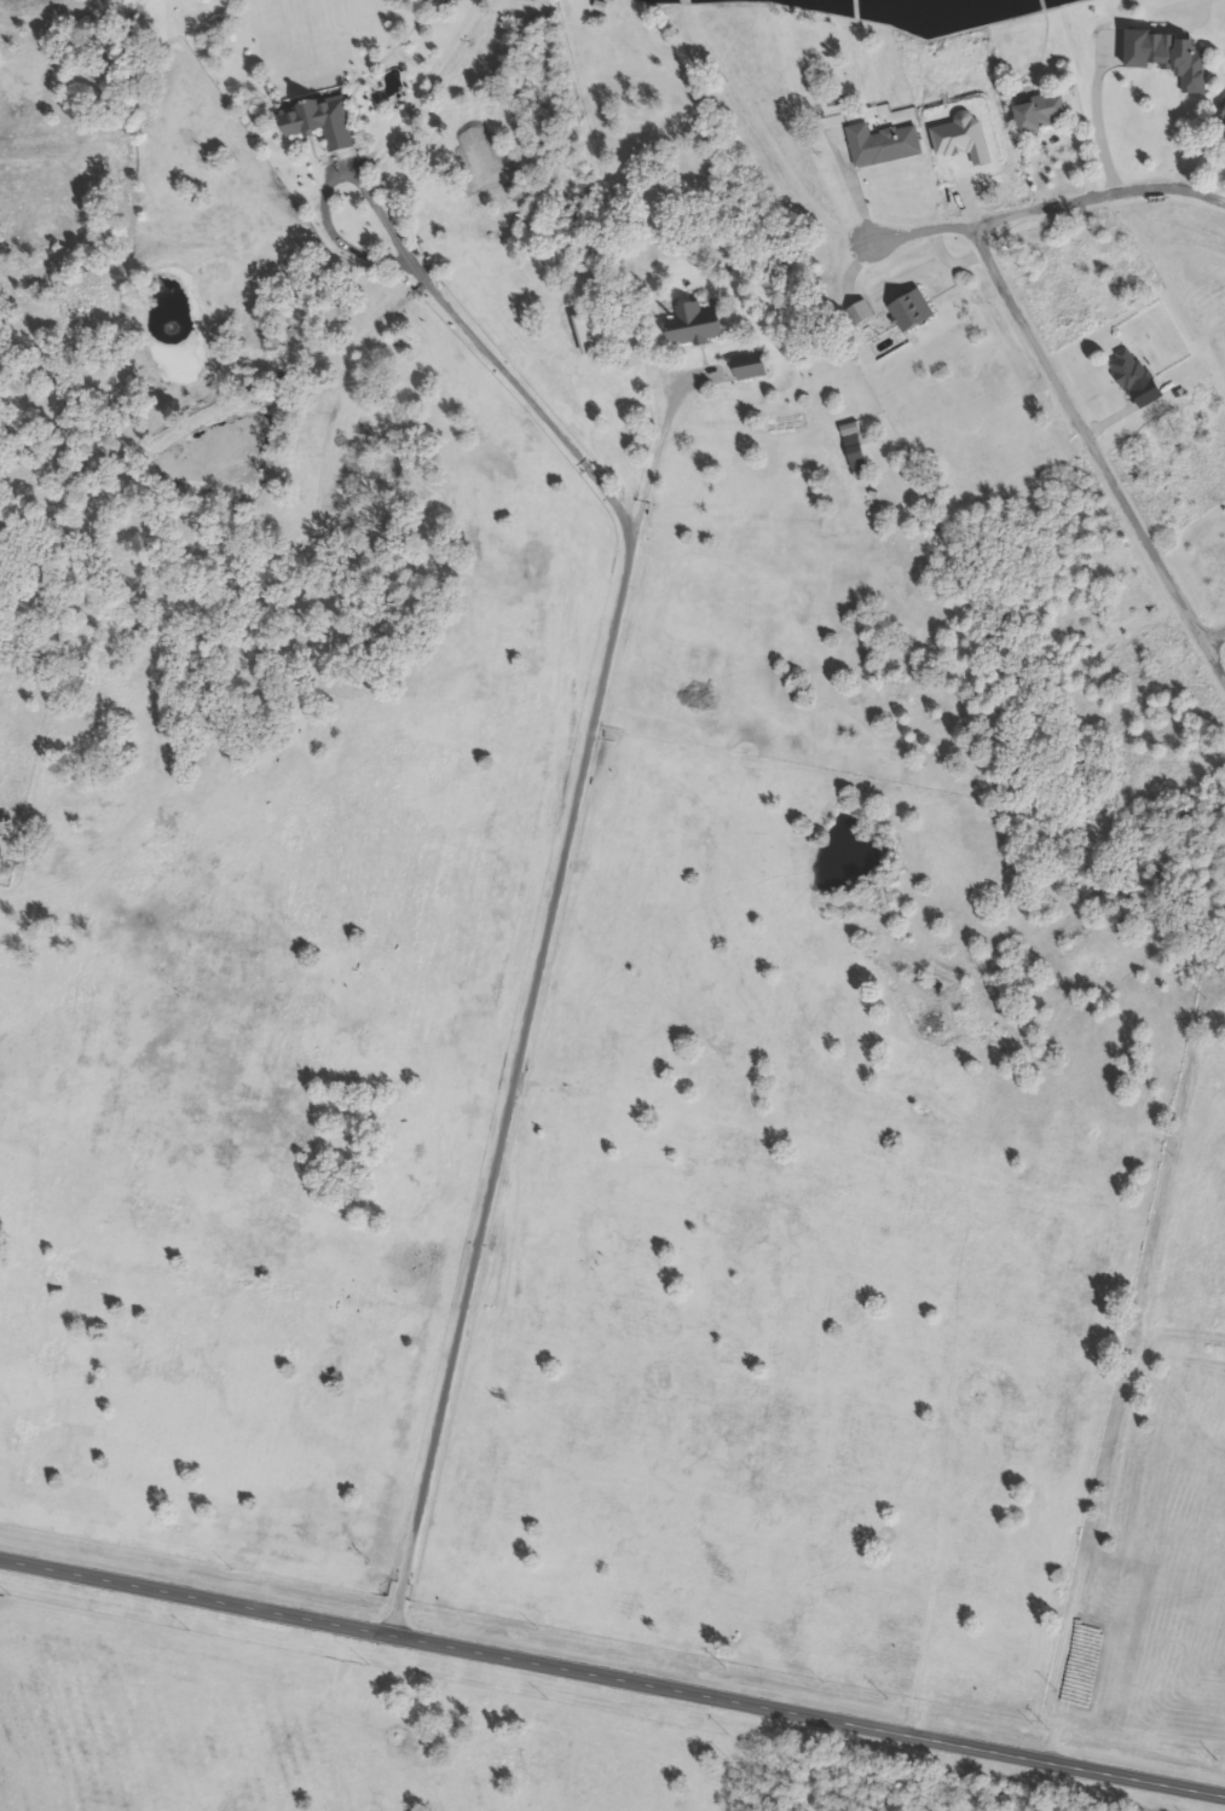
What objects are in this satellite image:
building: (1172, 56)
building: (1041, 112)
road: (1096, 117)
building: (1223, 118)
building: (324, 120)
road: (1057, 139)
building: (884, 143)
road: (1197, 144)
road: (42, 160)
road: (855, 185)
road: (1038, 210)
building: (911, 307)
building: (861, 308)
building: (698, 324)
building: (591, 336)
building: (752, 366)
building: (1129, 369)
road: (1117, 415)
road: (1099, 446)
road: (658, 452)
road: (1217, 633)
road: (582, 771)
road: (612, 1666)

